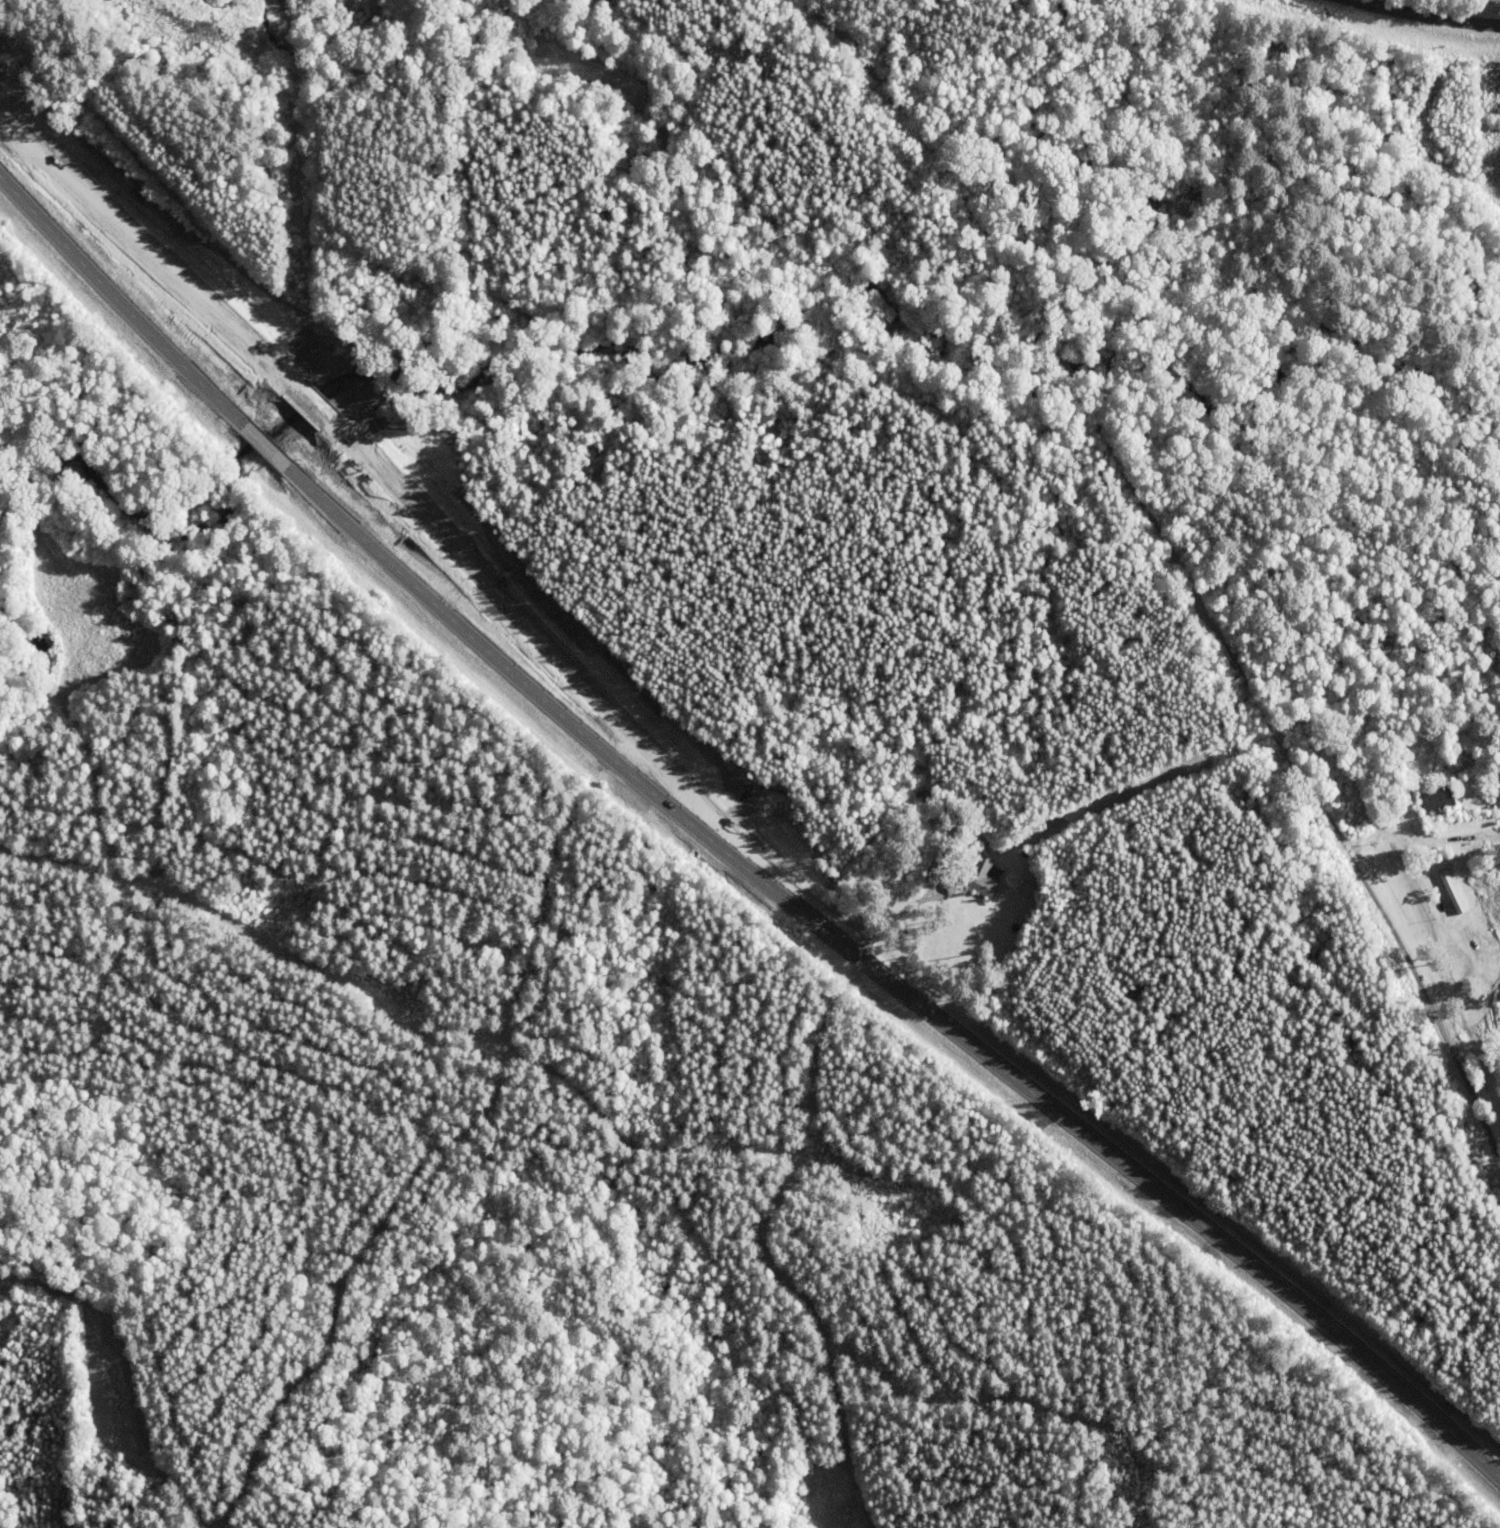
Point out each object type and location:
road: (1429, 14)
road: (1079, 406)
road: (726, 855)
road: (1431, 1010)

